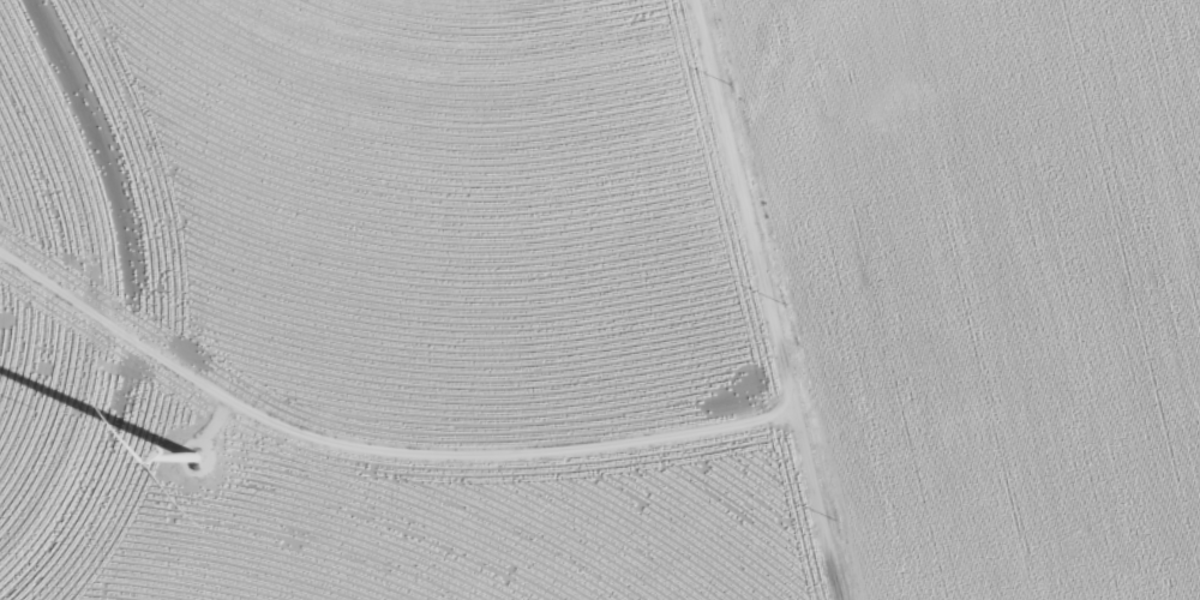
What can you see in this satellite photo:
road: (773, 300)
road: (374, 450)
wind turbine: (194, 455)

